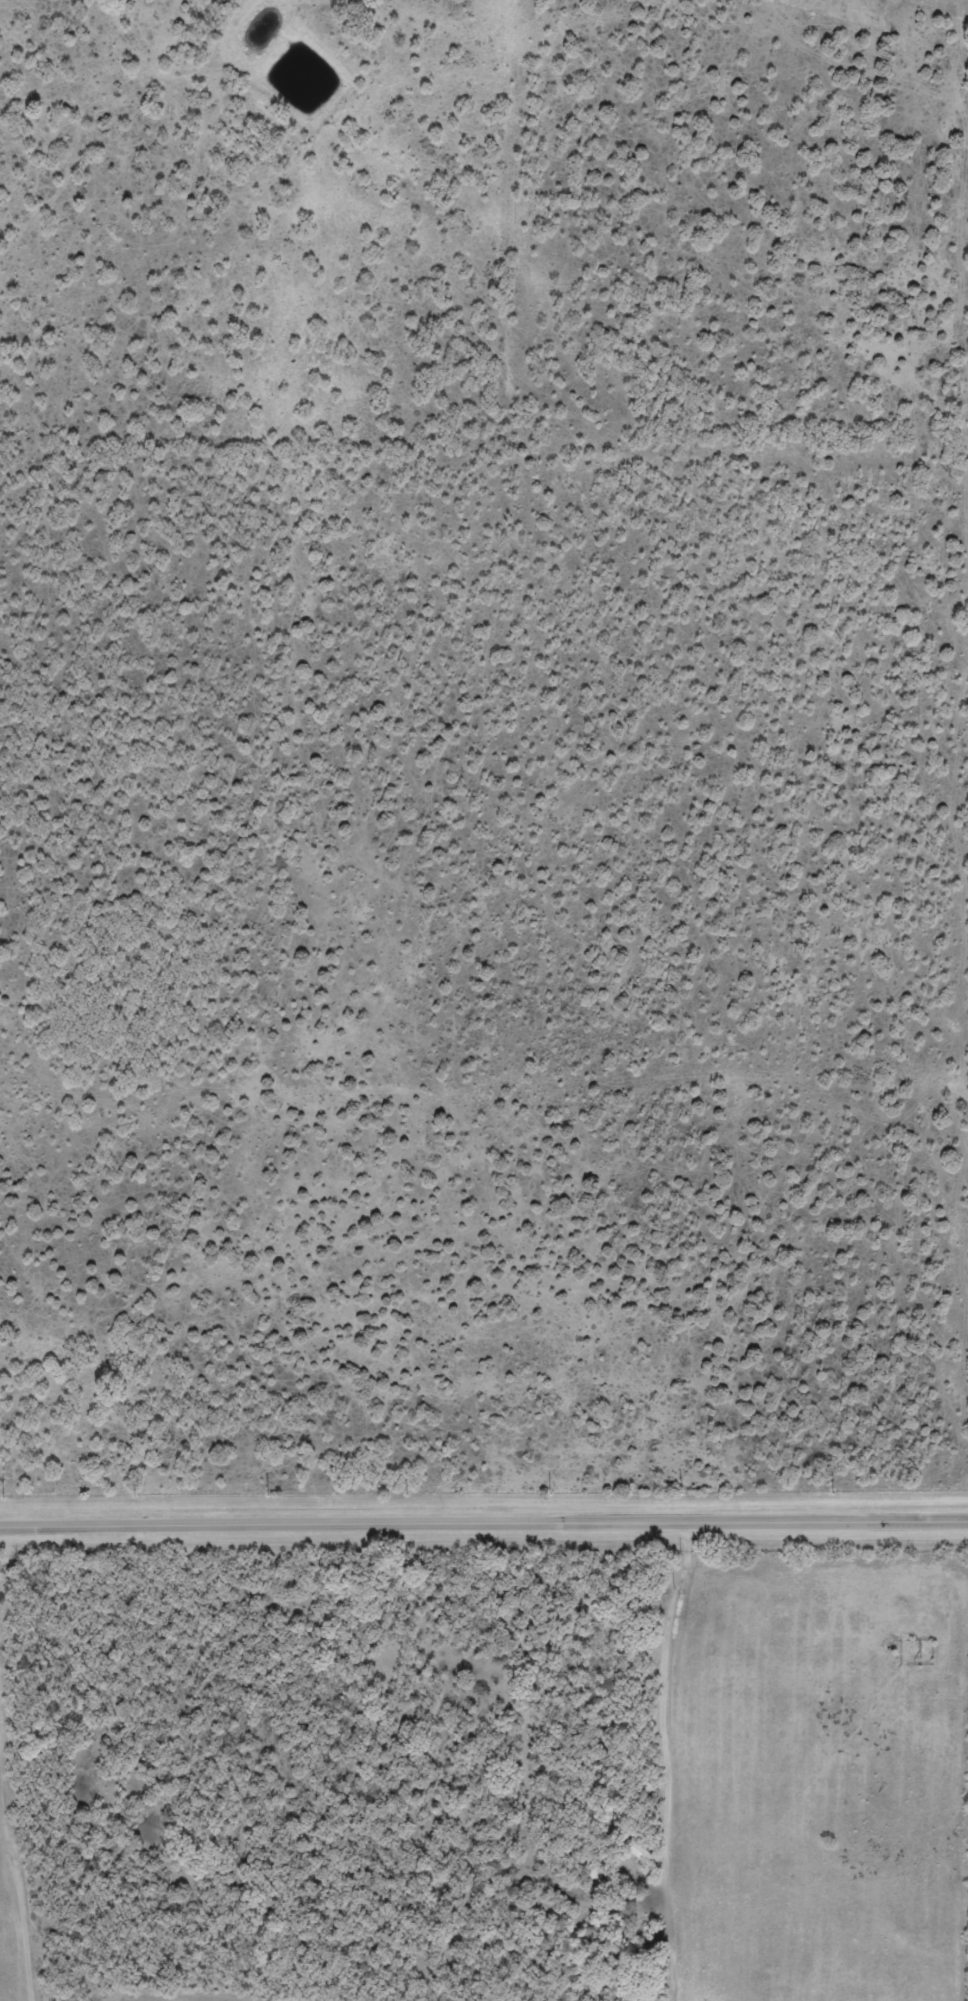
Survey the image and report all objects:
road: (484, 1530)

